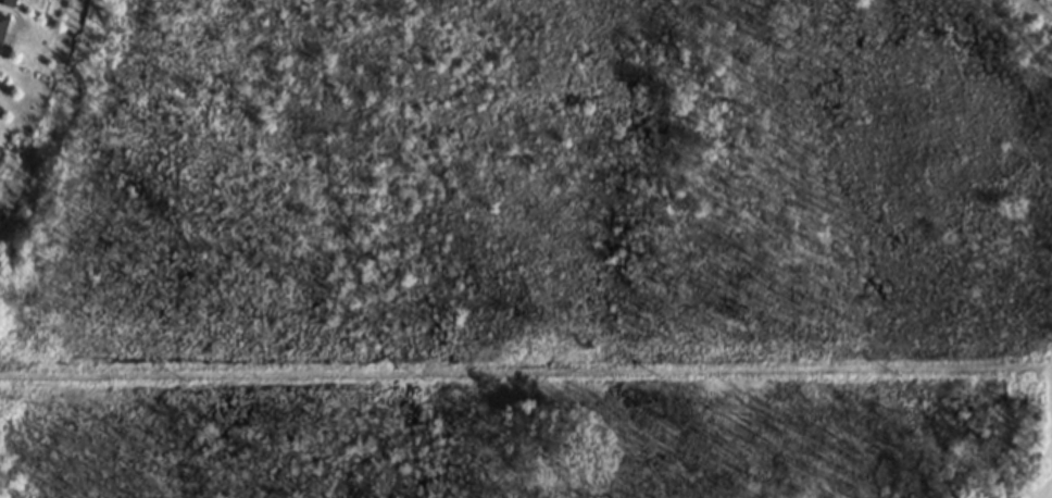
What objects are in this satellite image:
building: (7, 3)
building: (1, 21)
park: (198, 197)

